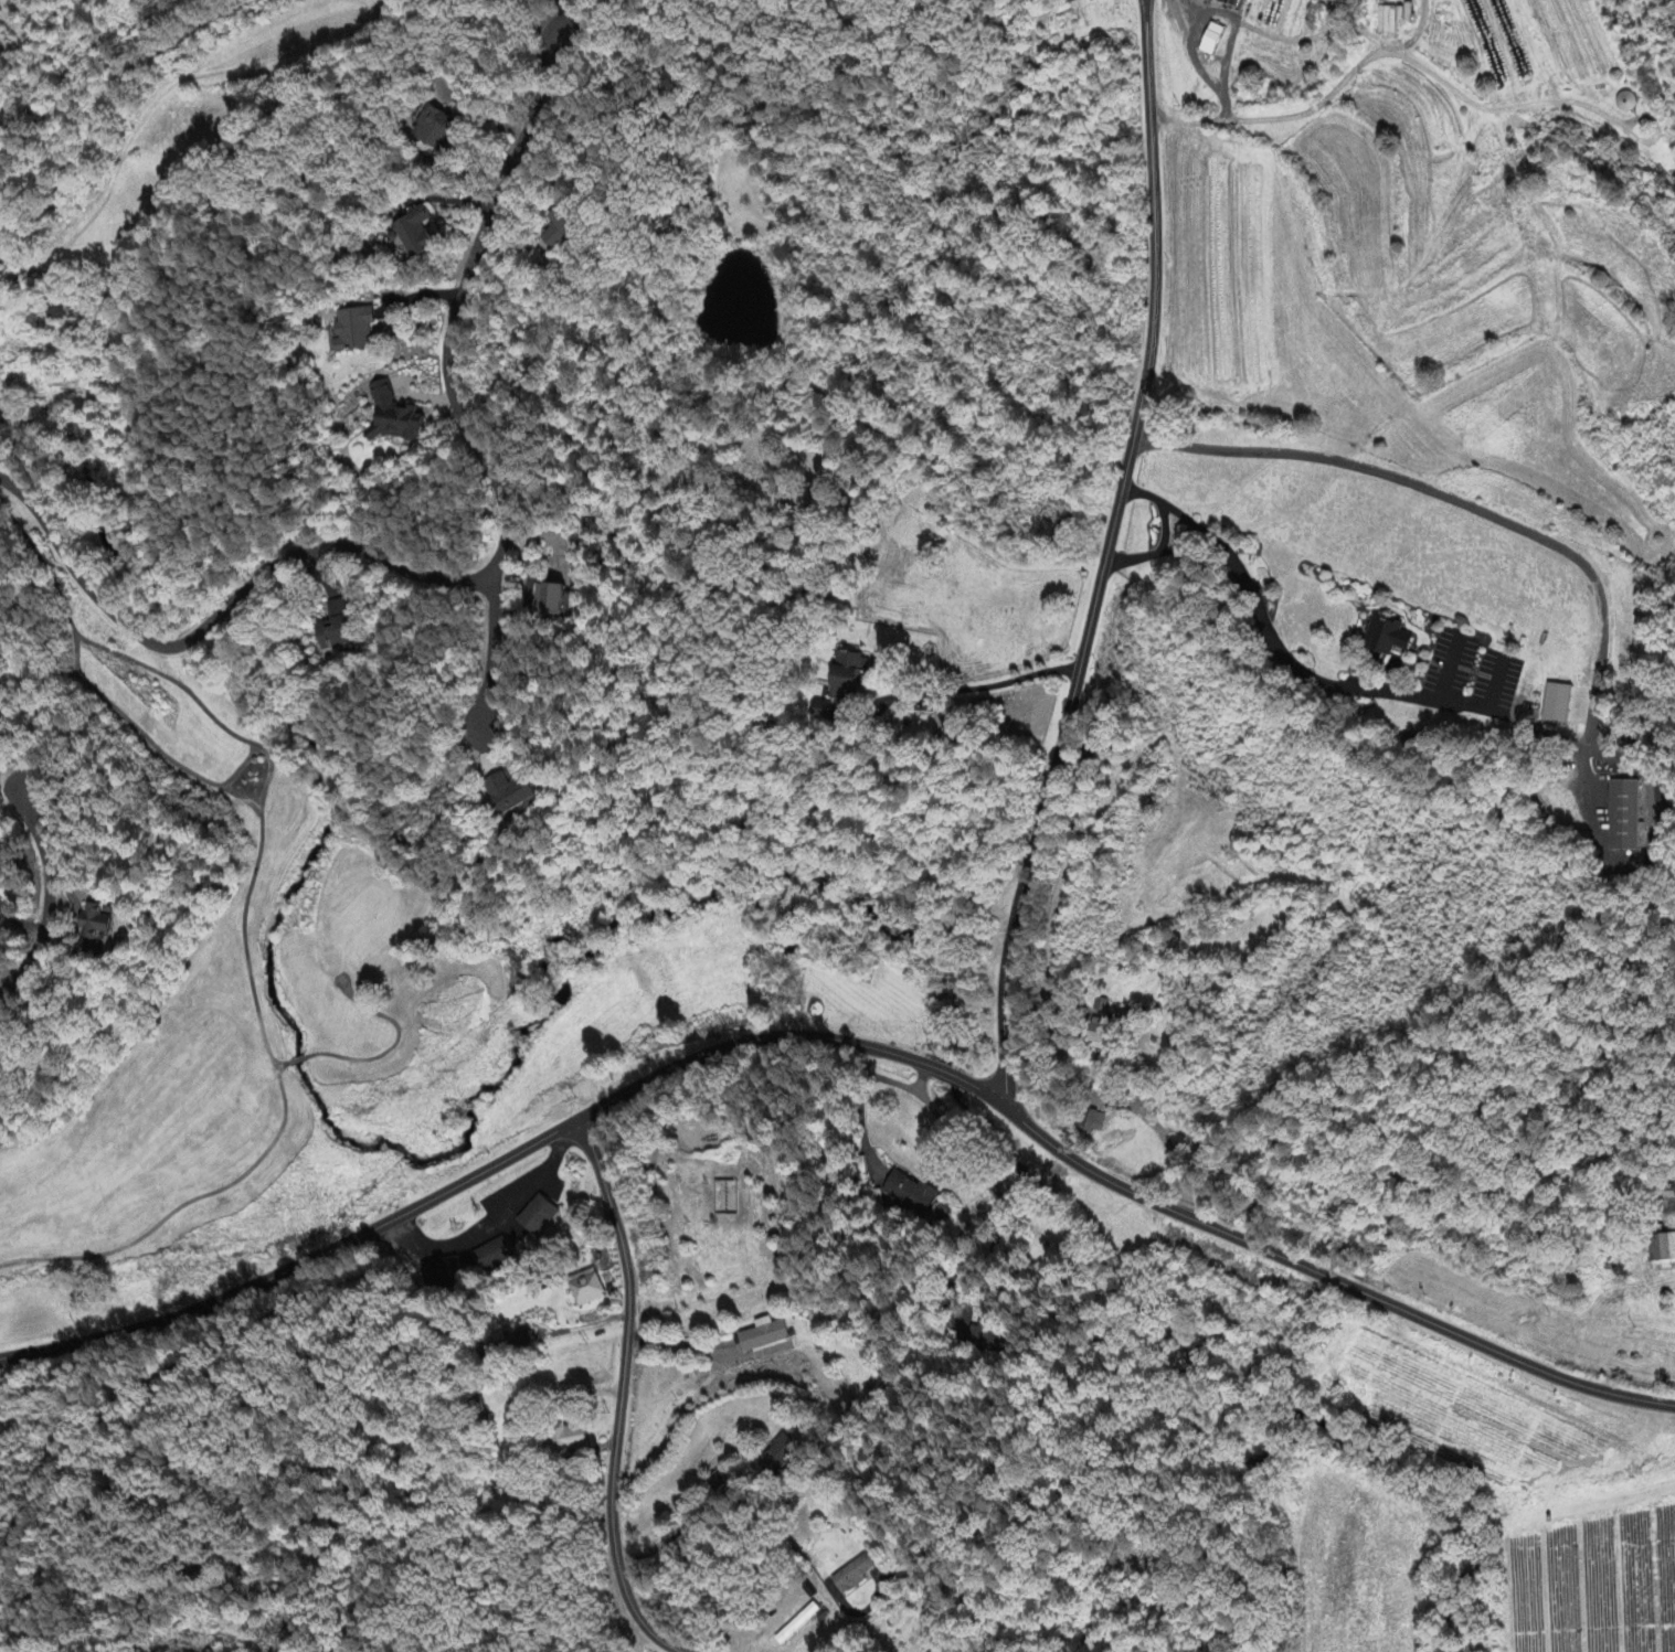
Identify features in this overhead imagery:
building: (1237, 3)
building: (1388, 22)
road: (1316, 110)
building: (437, 129)
building: (563, 231)
building: (418, 235)
road: (459, 303)
building: (358, 331)
building: (395, 418)
road: (1481, 505)
road: (1173, 509)
road: (1111, 557)
building: (553, 599)
road: (212, 619)
building: (337, 631)
building: (1381, 637)
road: (1275, 640)
road: (506, 654)
road: (1449, 668)
building: (850, 679)
road: (988, 684)
road: (1495, 684)
building: (1554, 704)
building: (952, 736)
building: (1621, 816)
road: (1649, 836)
road: (41, 896)
building: (96, 925)
park: (151, 936)
building: (1101, 1036)
road: (842, 1041)
road: (995, 1187)
building: (909, 1194)
building: (727, 1198)
building: (538, 1216)
road: (494, 1218)
building: (1663, 1253)
building: (491, 1255)
building: (442, 1272)
building: (587, 1289)
building: (765, 1336)
building: (985, 1339)
building: (499, 1343)
road: (677, 1343)
road: (619, 1395)
building: (778, 1457)
building: (721, 1488)
building: (855, 1576)
building: (799, 1626)

